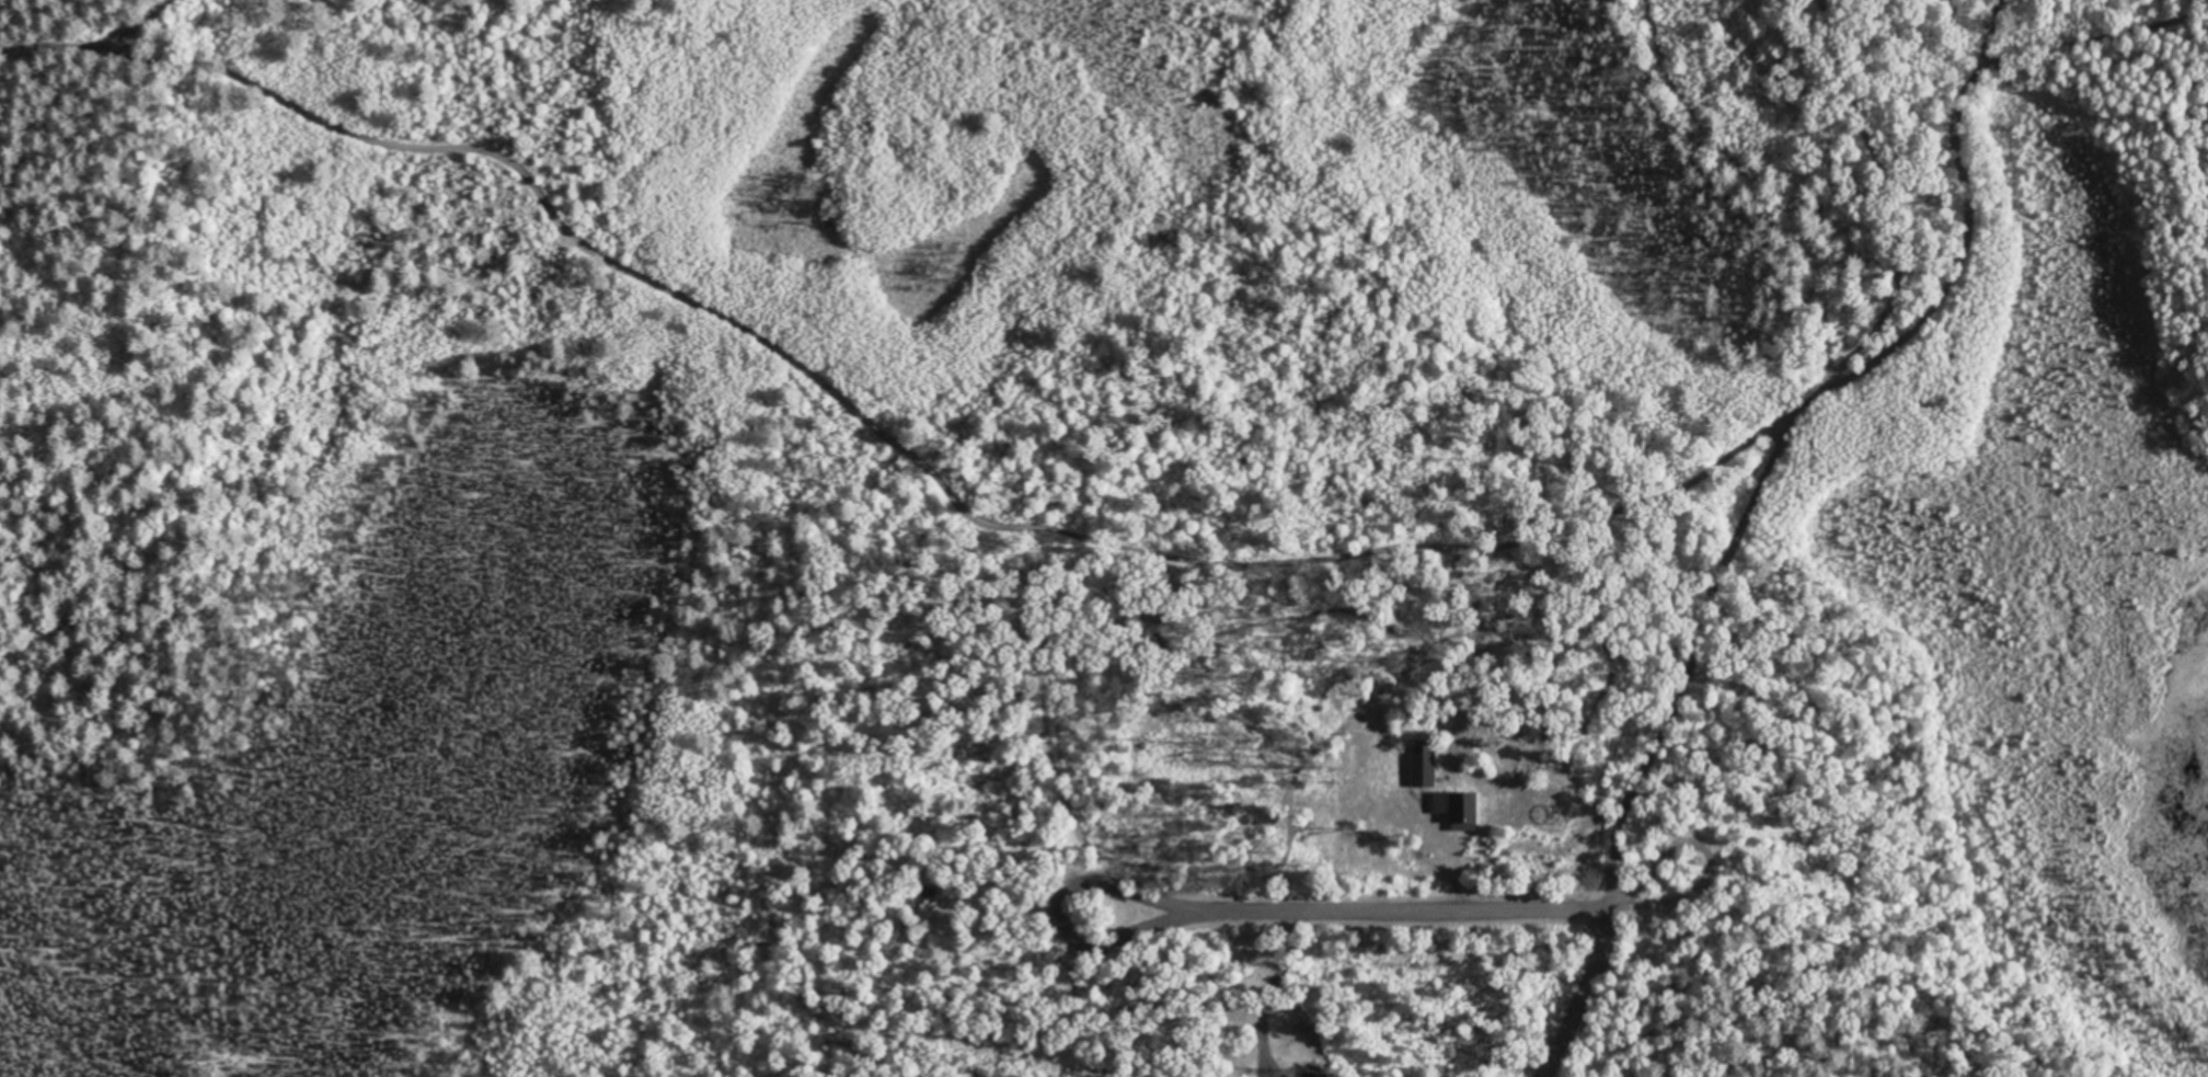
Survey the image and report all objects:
road: (1729, 176)
road: (823, 402)
road: (1780, 426)
building: (1428, 768)
building: (1463, 805)
road: (1435, 910)
road: (1578, 993)

